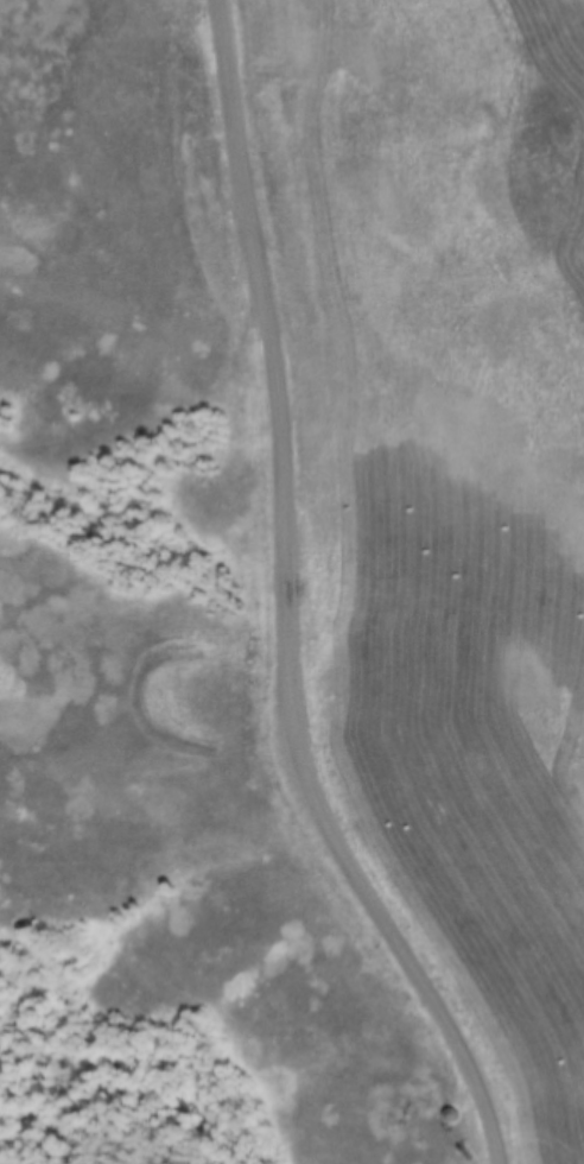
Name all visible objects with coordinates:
road: (265, 611)

